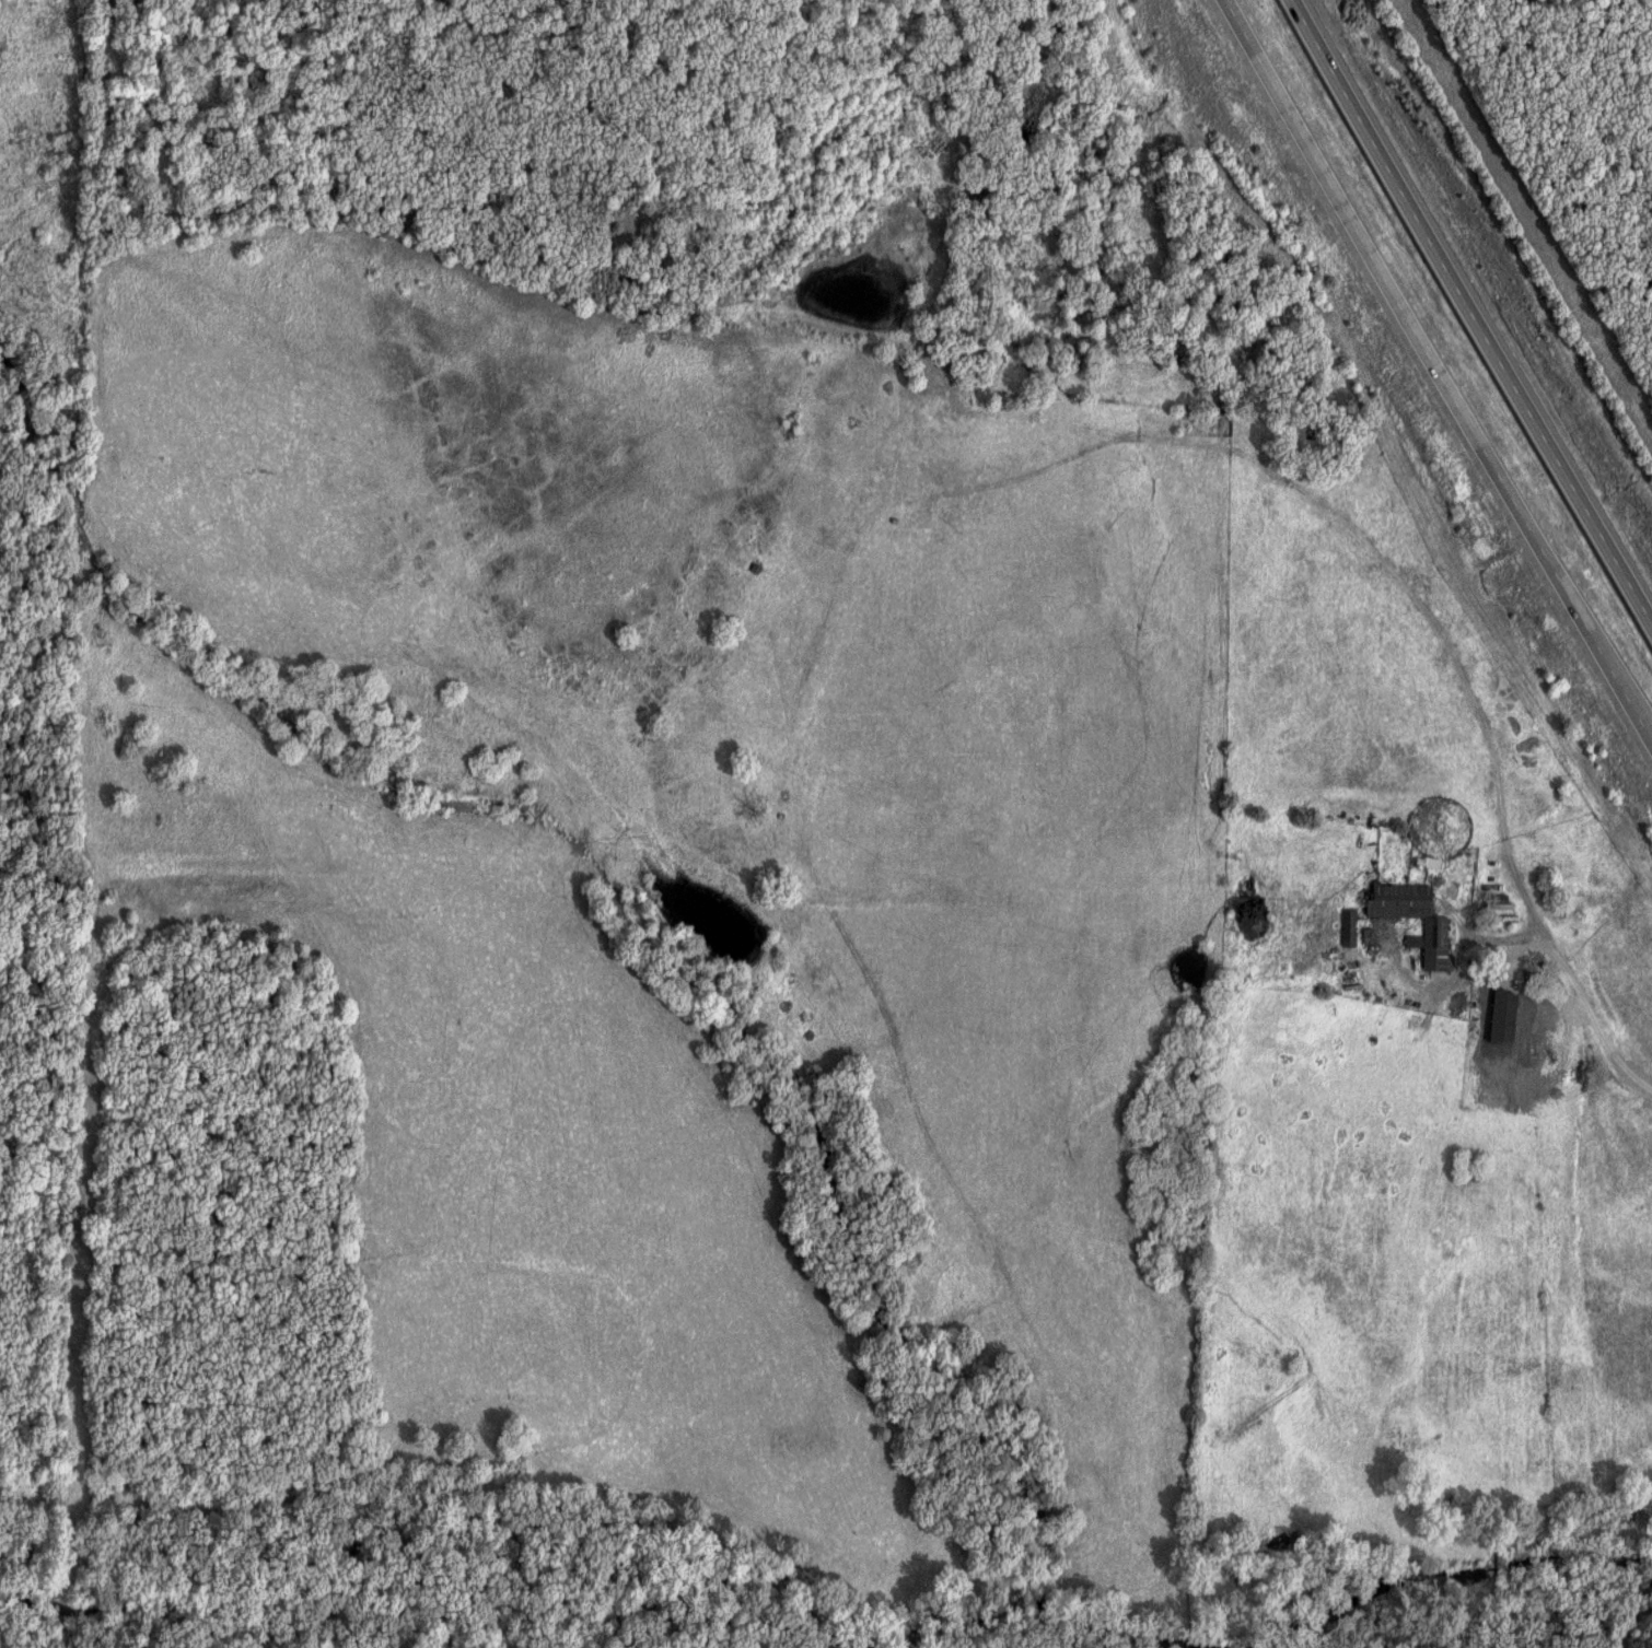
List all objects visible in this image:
road: (1474, 307)
road: (1447, 355)
building: (1434, 863)
building: (1440, 926)
building: (1351, 927)
road: (1563, 989)
building: (1506, 1002)
building: (1540, 1057)

